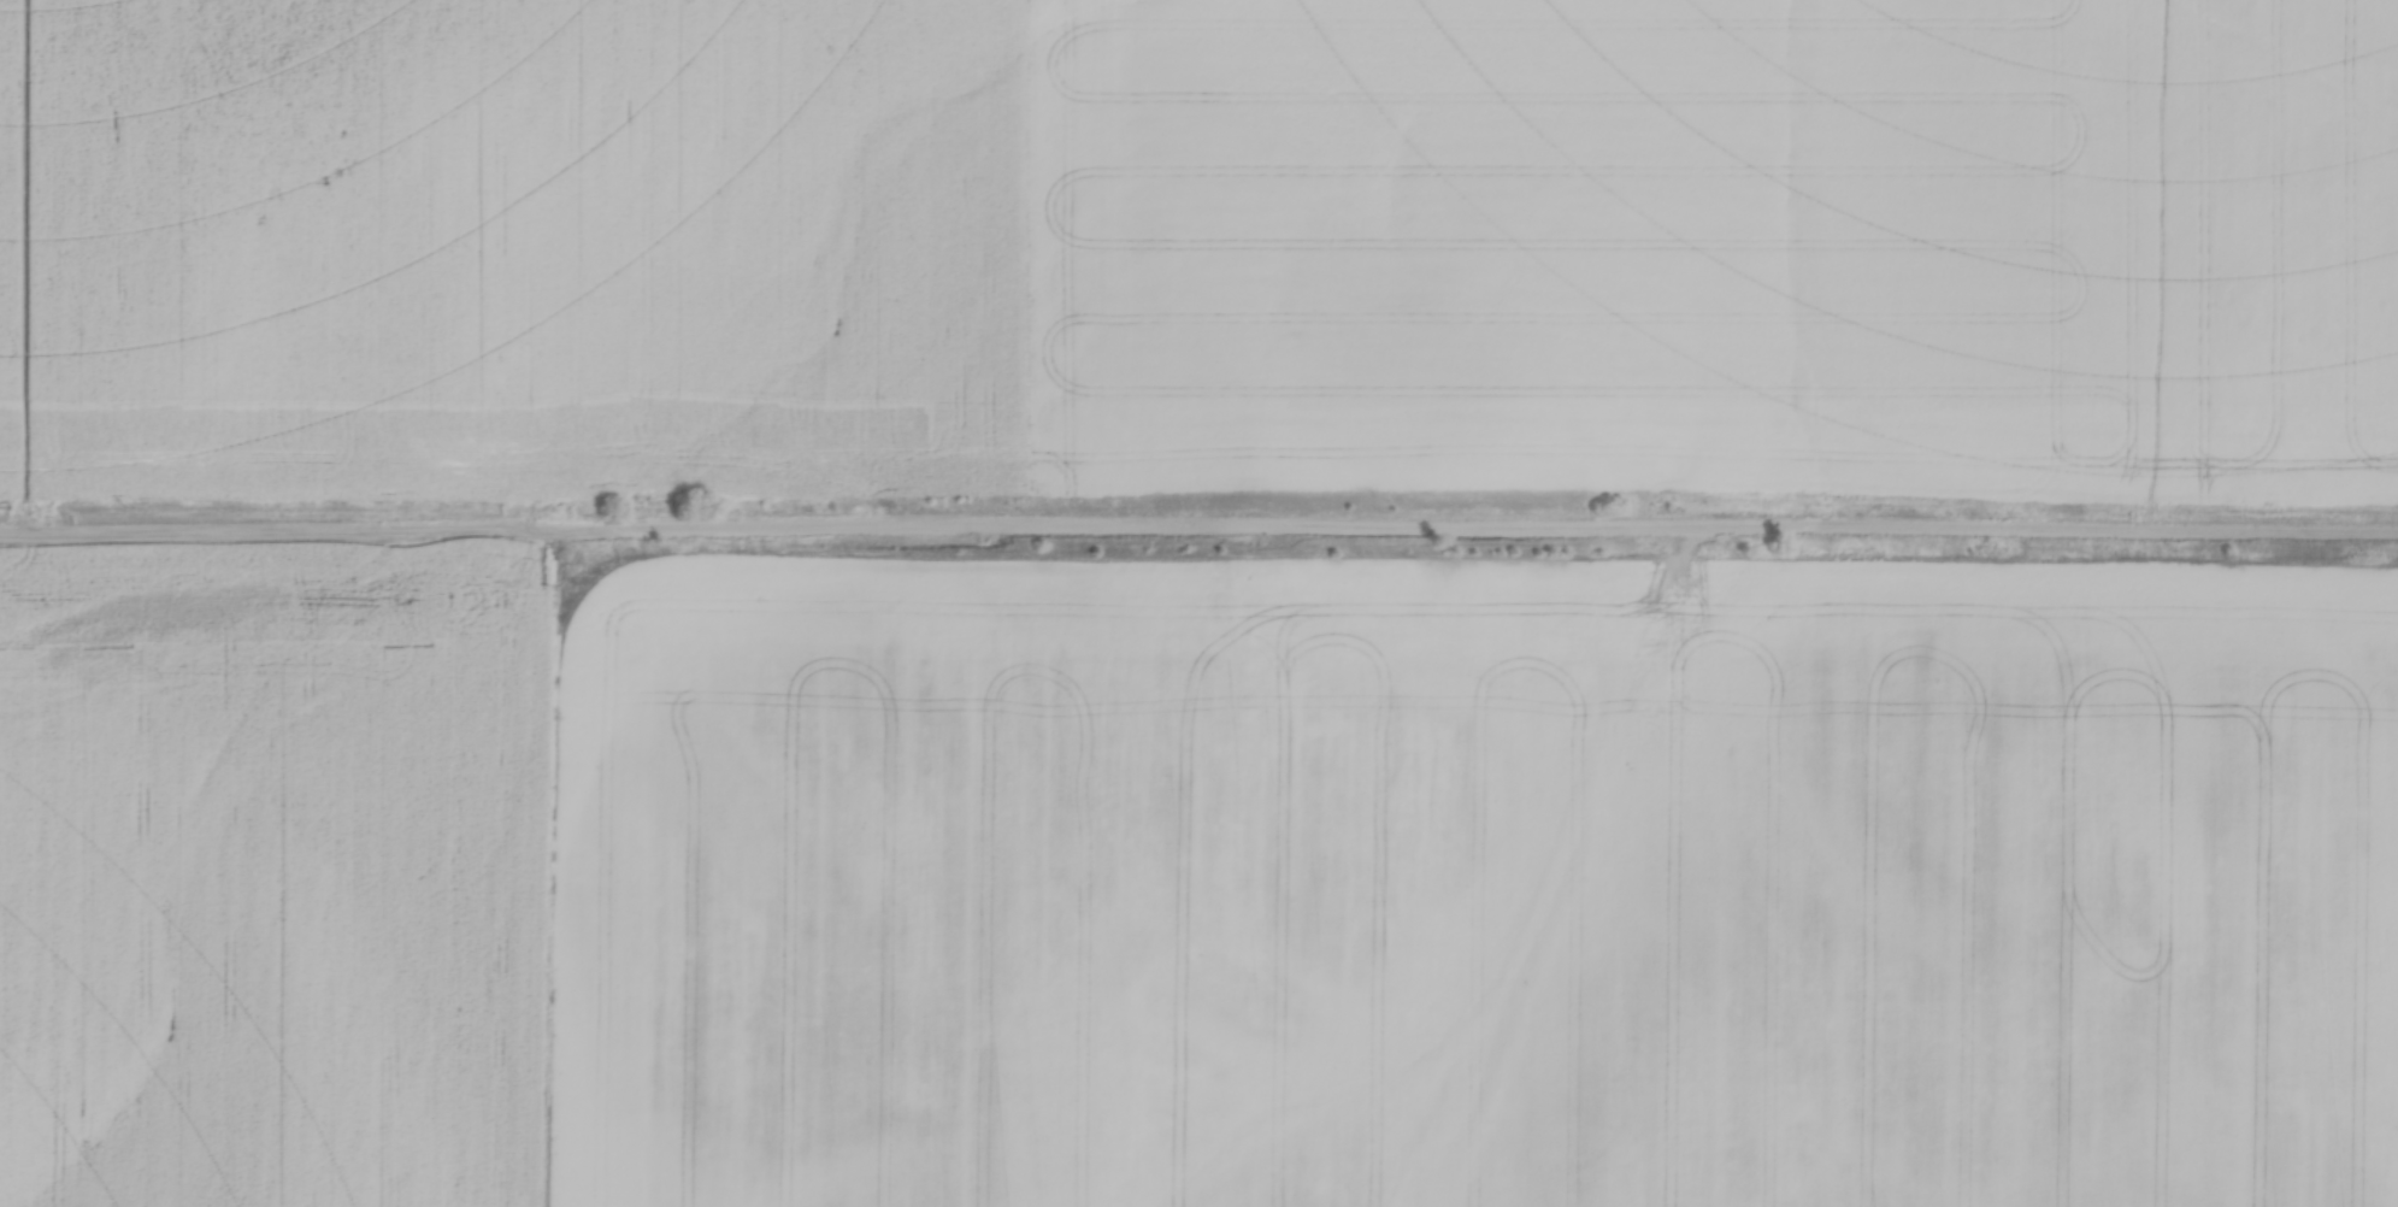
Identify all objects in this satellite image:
road: (1483, 535)
road: (283, 536)

